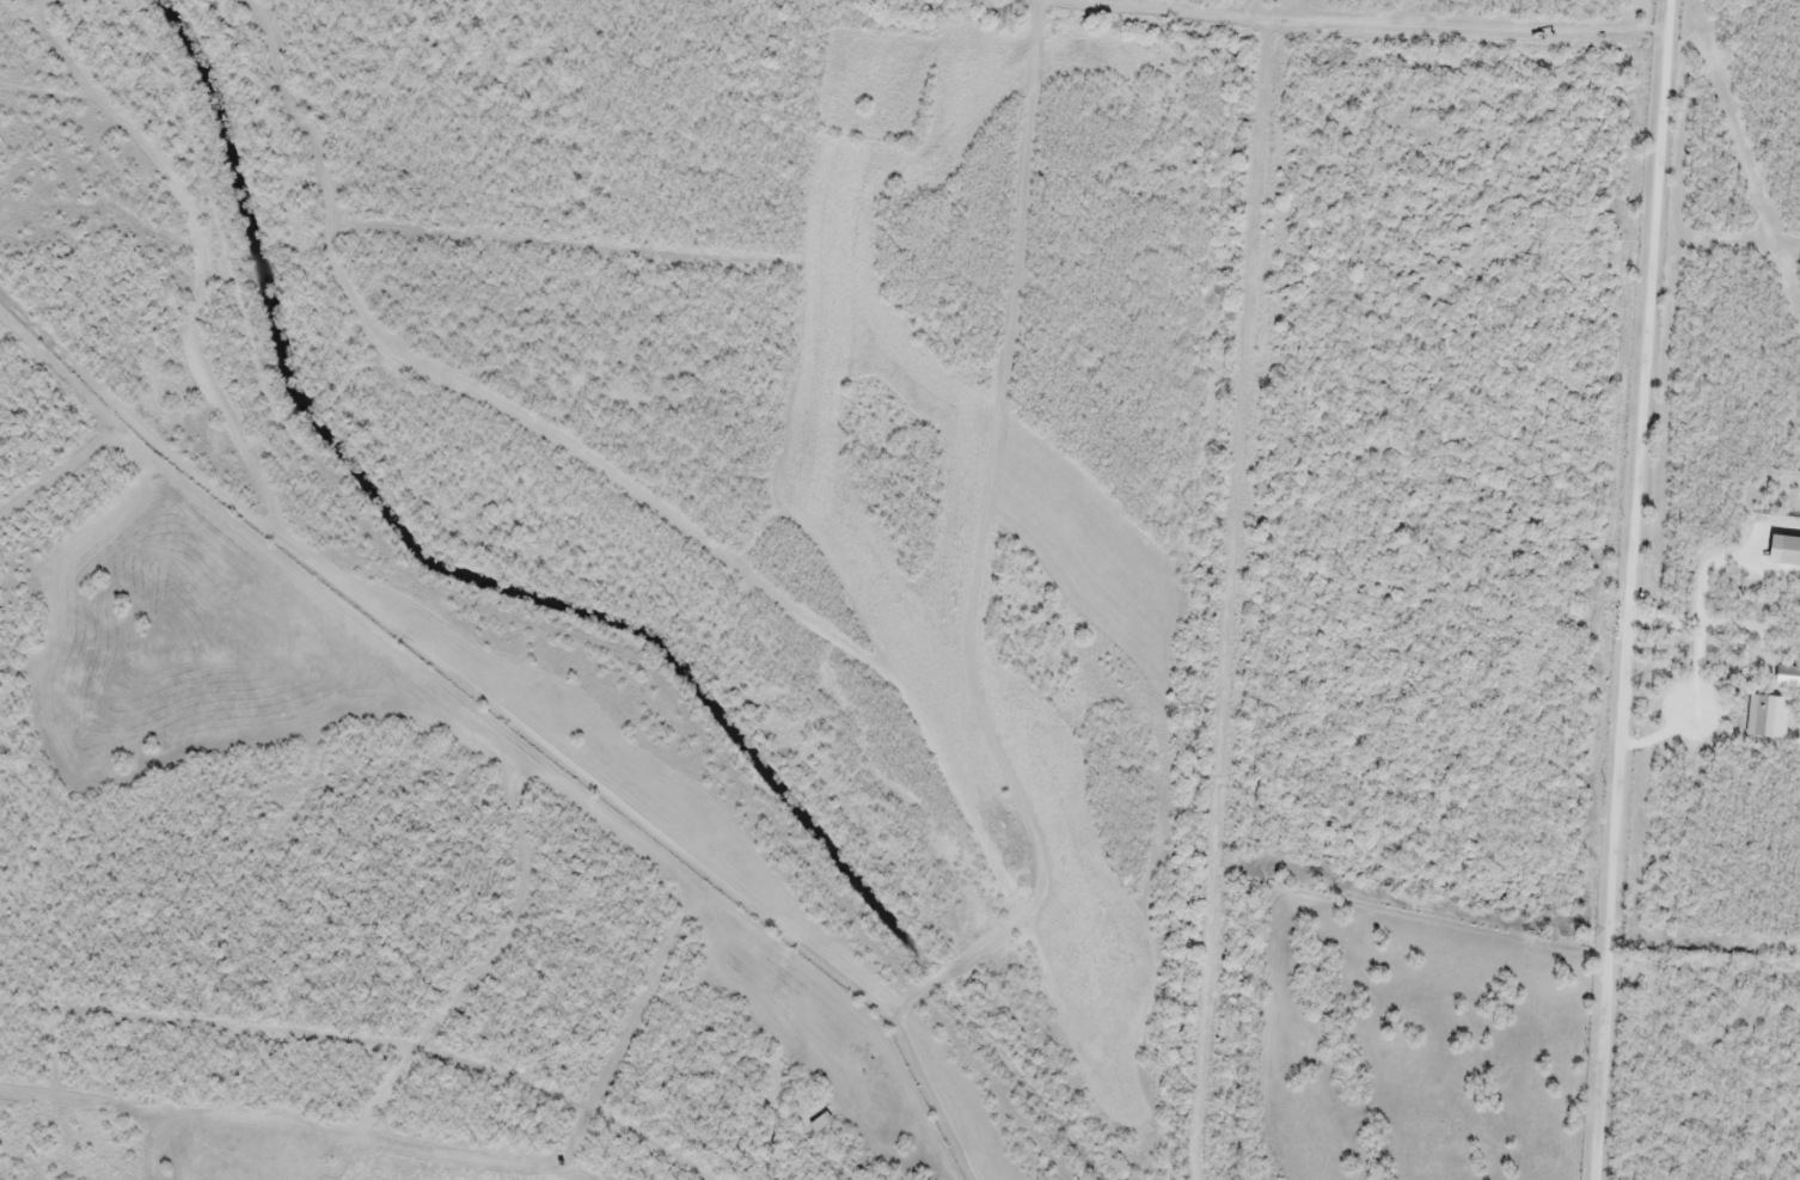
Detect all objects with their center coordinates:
road: (1649, 589)
building: (1787, 674)
building: (1765, 715)
building: (820, 1121)

